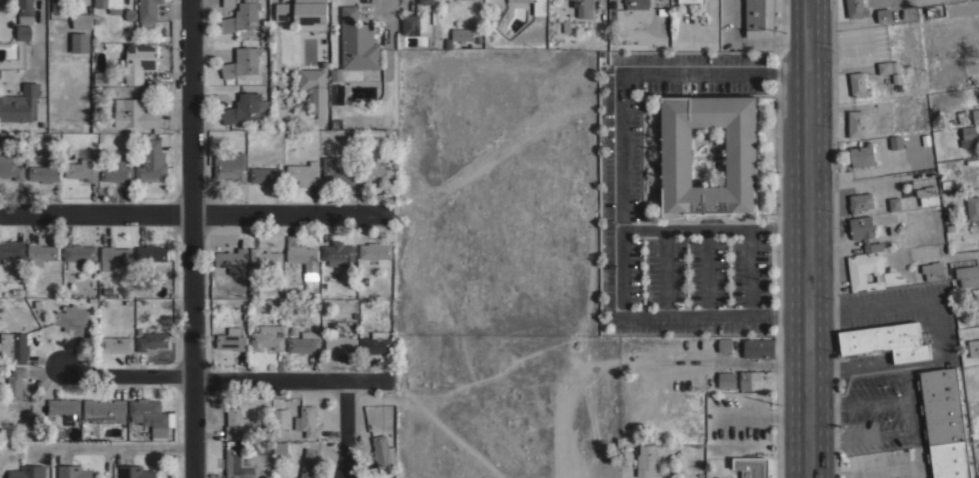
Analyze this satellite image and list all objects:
building: (692, 1)
building: (426, 2)
building: (228, 3)
road: (389, 4)
building: (636, 4)
building: (57, 5)
building: (109, 5)
building: (535, 6)
building: (855, 8)
building: (582, 9)
building: (25, 11)
building: (148, 14)
building: (303, 14)
building: (883, 14)
building: (242, 16)
building: (759, 18)
building: (81, 20)
building: (410, 24)
road: (40, 27)
building: (23, 31)
building: (458, 36)
building: (357, 41)
road: (751, 41)
building: (80, 42)
building: (139, 61)
building: (242, 62)
building: (887, 67)
road: (794, 71)
building: (336, 74)
building: (101, 76)
building: (857, 84)
building: (314, 87)
building: (337, 94)
building: (20, 104)
building: (245, 107)
building: (135, 114)
building: (975, 115)
building: (856, 123)
building: (968, 136)
building: (895, 142)
building: (862, 155)
building: (676, 156)
building: (152, 160)
building: (230, 165)
building: (84, 166)
building: (10, 167)
building: (117, 170)
building: (44, 172)
building: (304, 172)
building: (336, 172)
building: (373, 174)
building: (266, 175)
building: (952, 184)
road: (620, 193)
parking lot: (687, 193)
building: (927, 195)
building: (860, 201)
building: (894, 203)
building: (973, 207)
road: (194, 213)
road: (793, 226)
road: (698, 227)
building: (972, 227)
building: (864, 232)
road: (810, 238)
road: (190, 239)
building: (374, 250)
building: (12, 251)
building: (151, 252)
building: (41, 253)
building: (77, 254)
building: (339, 254)
building: (115, 255)
building: (265, 257)
building: (303, 257)
building: (231, 258)
road: (664, 270)
road: (708, 270)
road: (750, 270)
building: (933, 270)
building: (885, 273)
building: (967, 275)
road: (916, 303)
road: (795, 313)
building: (72, 319)
building: (267, 337)
building: (152, 339)
building: (231, 339)
building: (885, 341)
building: (304, 342)
building: (376, 342)
building: (116, 343)
building: (340, 343)
building: (725, 345)
building: (14, 347)
building: (758, 347)
building: (973, 347)
road: (715, 359)
road: (858, 369)
road: (229, 378)
building: (757, 379)
building: (727, 380)
building: (15, 382)
road: (908, 383)
parking lot: (902, 384)
road: (860, 402)
building: (63, 405)
building: (102, 410)
building: (148, 412)
building: (280, 418)
building: (307, 421)
building: (41, 422)
building: (235, 422)
building: (943, 423)
road: (347, 429)
road: (453, 429)
road: (915, 433)
road: (862, 437)
building: (257, 446)
road: (111, 448)
building: (280, 451)
building: (383, 451)
building: (646, 461)
building: (308, 462)
building: (236, 465)
building: (751, 466)
road: (891, 469)
road: (610, 470)
building: (27, 472)
building: (74, 472)
building: (136, 472)
building: (978, 475)

